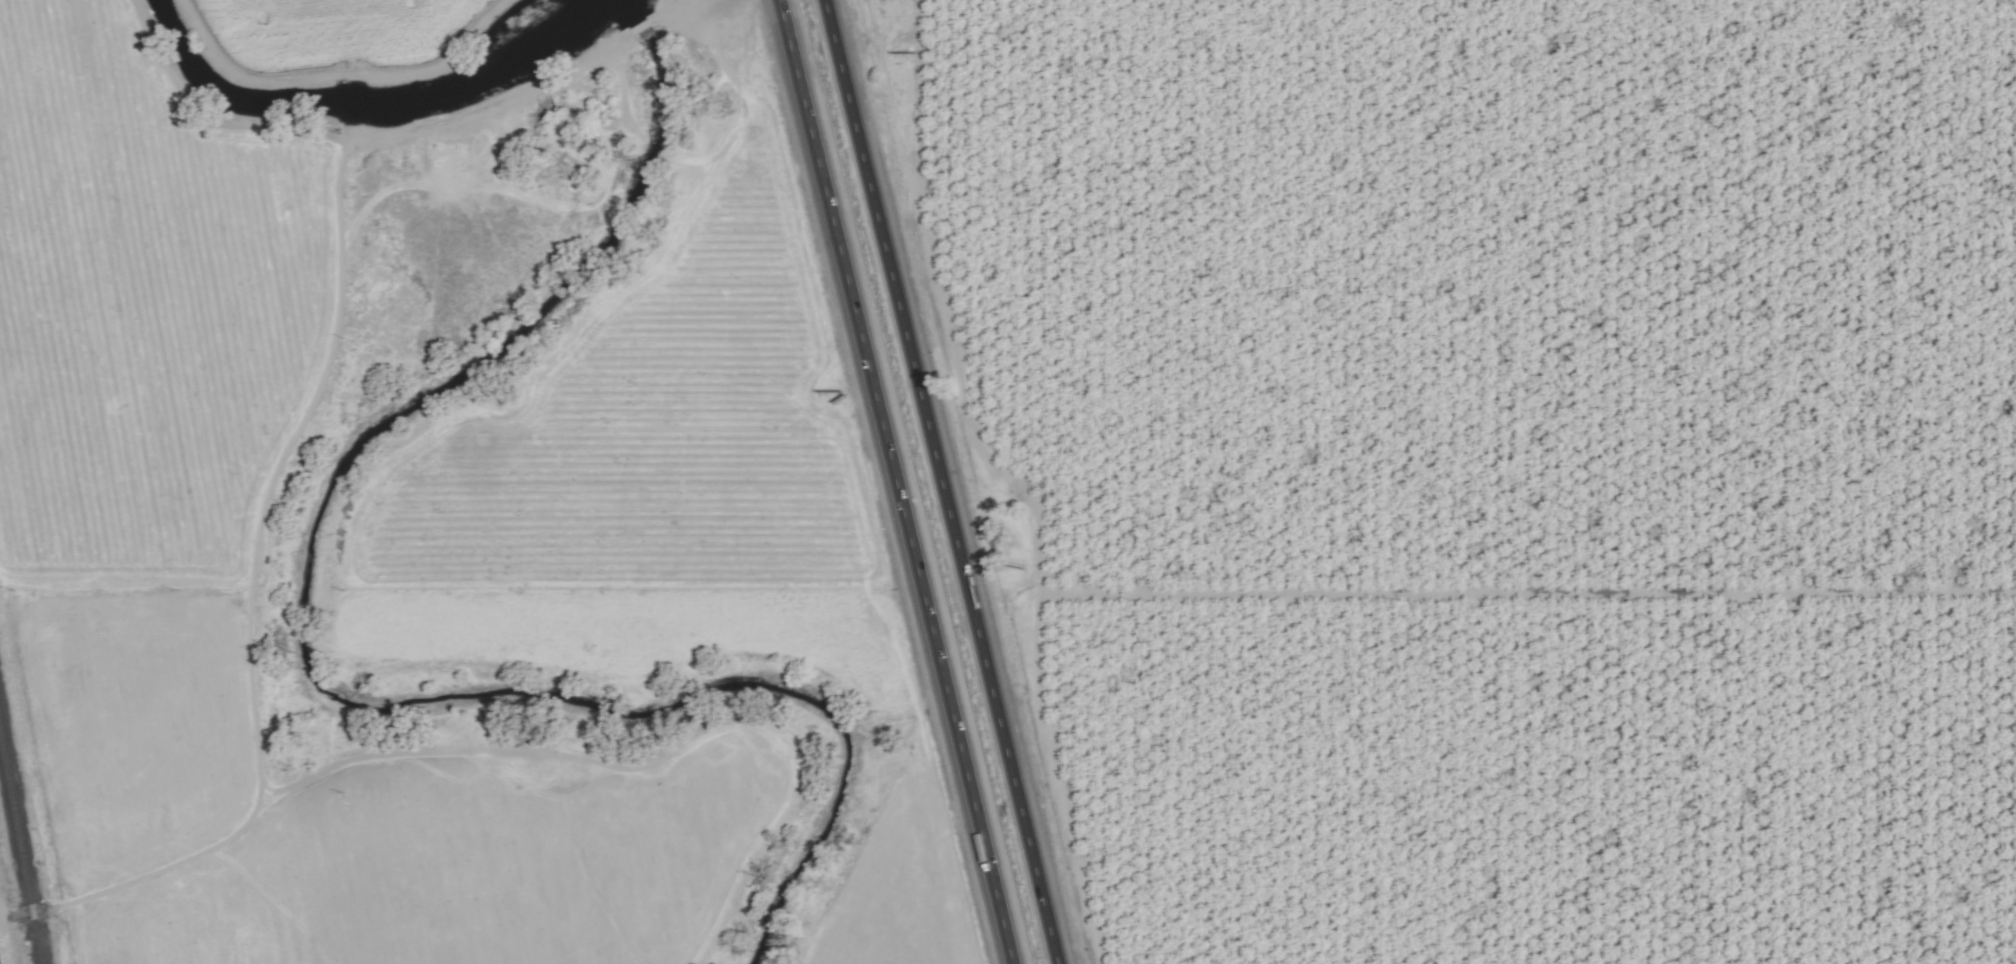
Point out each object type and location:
crop: (1478, 465)
road: (894, 482)
road: (940, 482)
railway: (20, 853)

